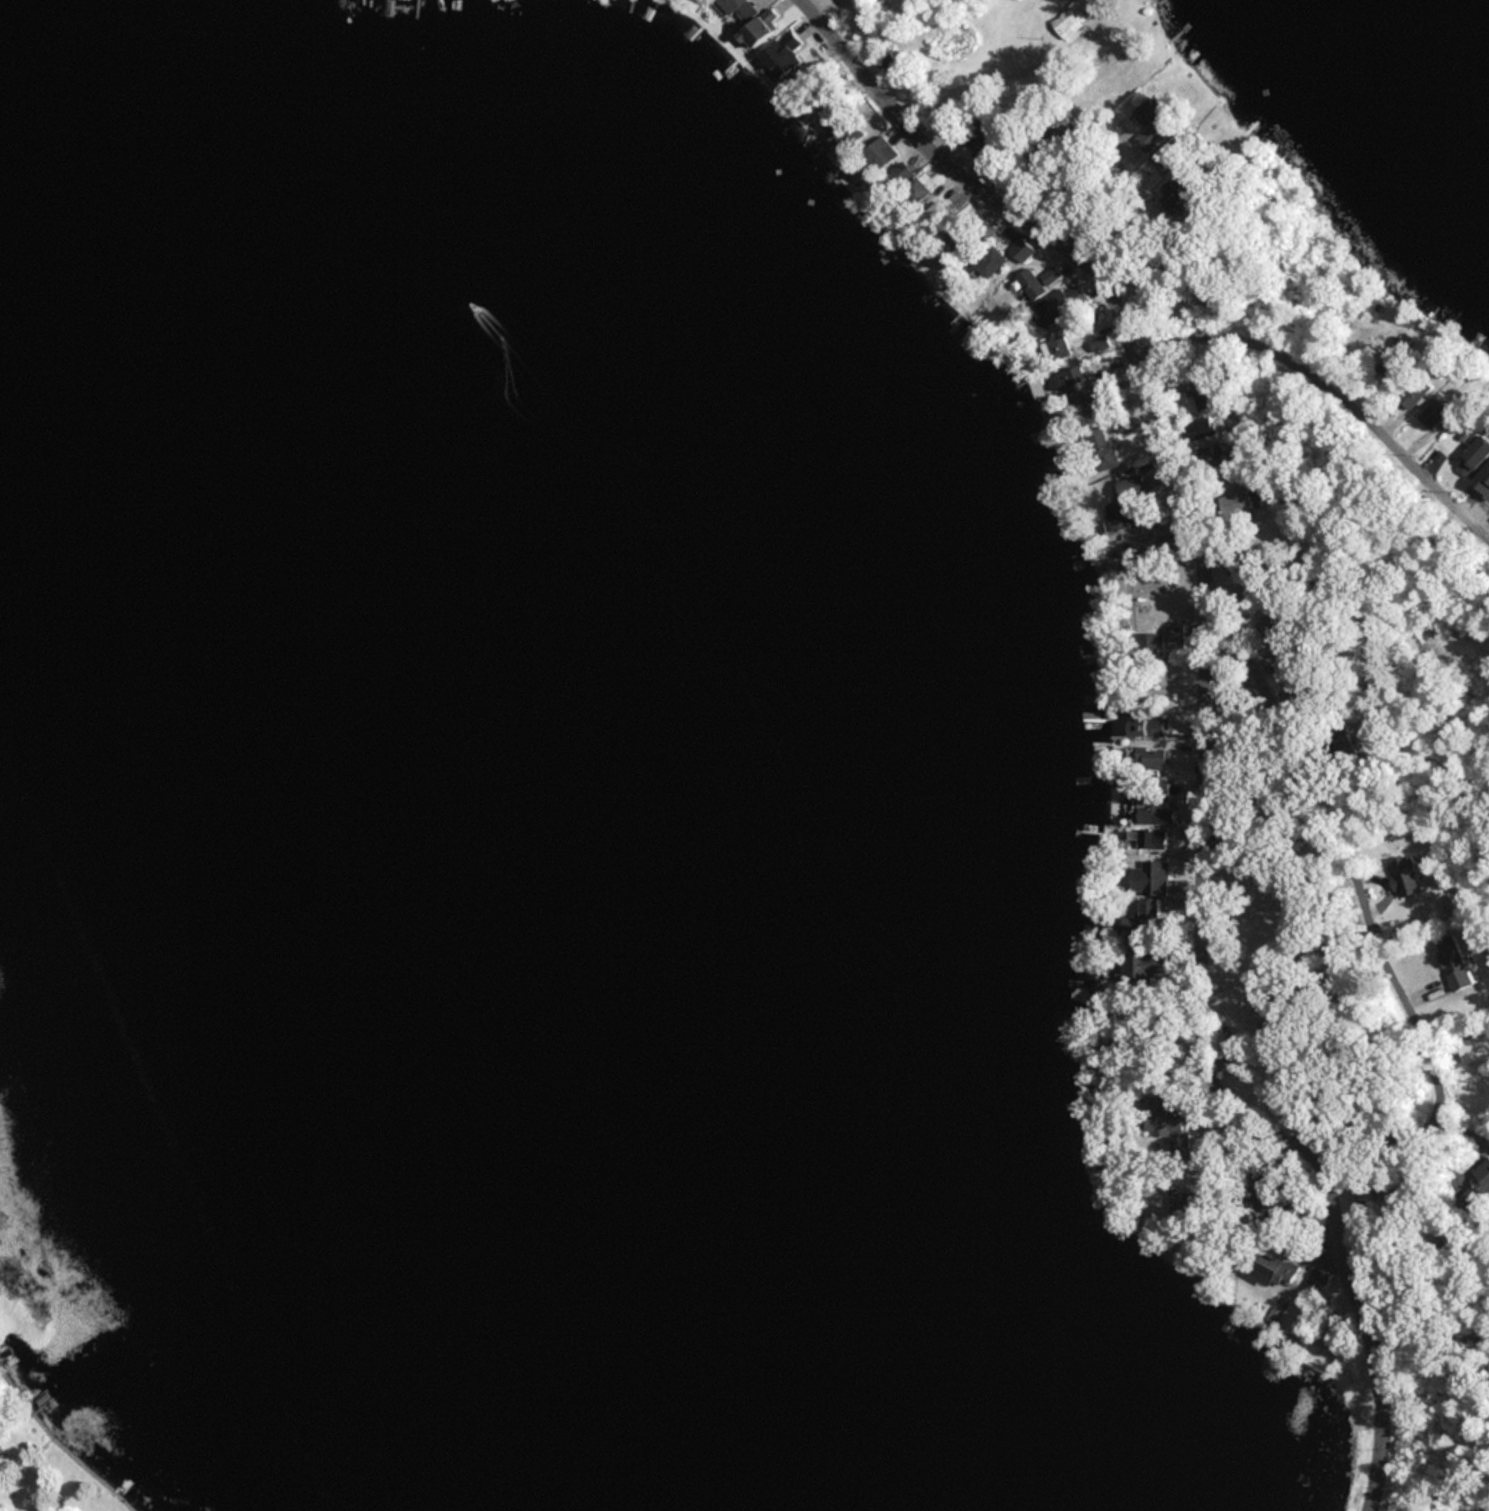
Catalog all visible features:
building: (738, 10)
building: (1072, 17)
building: (761, 26)
building: (786, 58)
building: (887, 64)
building: (839, 126)
building: (1151, 127)
building: (878, 155)
building: (899, 175)
building: (917, 190)
building: (935, 215)
building: (961, 239)
building: (1023, 250)
building: (990, 262)
building: (1031, 284)
building: (1059, 304)
building: (1100, 343)
building: (1062, 354)
road: (1329, 380)
building: (1417, 391)
building: (1206, 397)
building: (1092, 410)
building: (1437, 412)
building: (1202, 428)
building: (1100, 448)
building: (1476, 458)
building: (1125, 509)
road: (1192, 530)
building: (1253, 588)
building: (1277, 635)
building: (1175, 636)
building: (1301, 700)
building: (1148, 727)
building: (1149, 759)
building: (1155, 811)
road: (1436, 835)
building: (1153, 838)
building: (1152, 877)
building: (1406, 877)
building: (1146, 923)
building: (1454, 963)
building: (1147, 966)
road: (1419, 1128)
building: (1480, 1184)
building: (1255, 1193)
building: (1181, 1200)
building: (1275, 1270)
building: (1318, 1281)
road: (1370, 1330)

